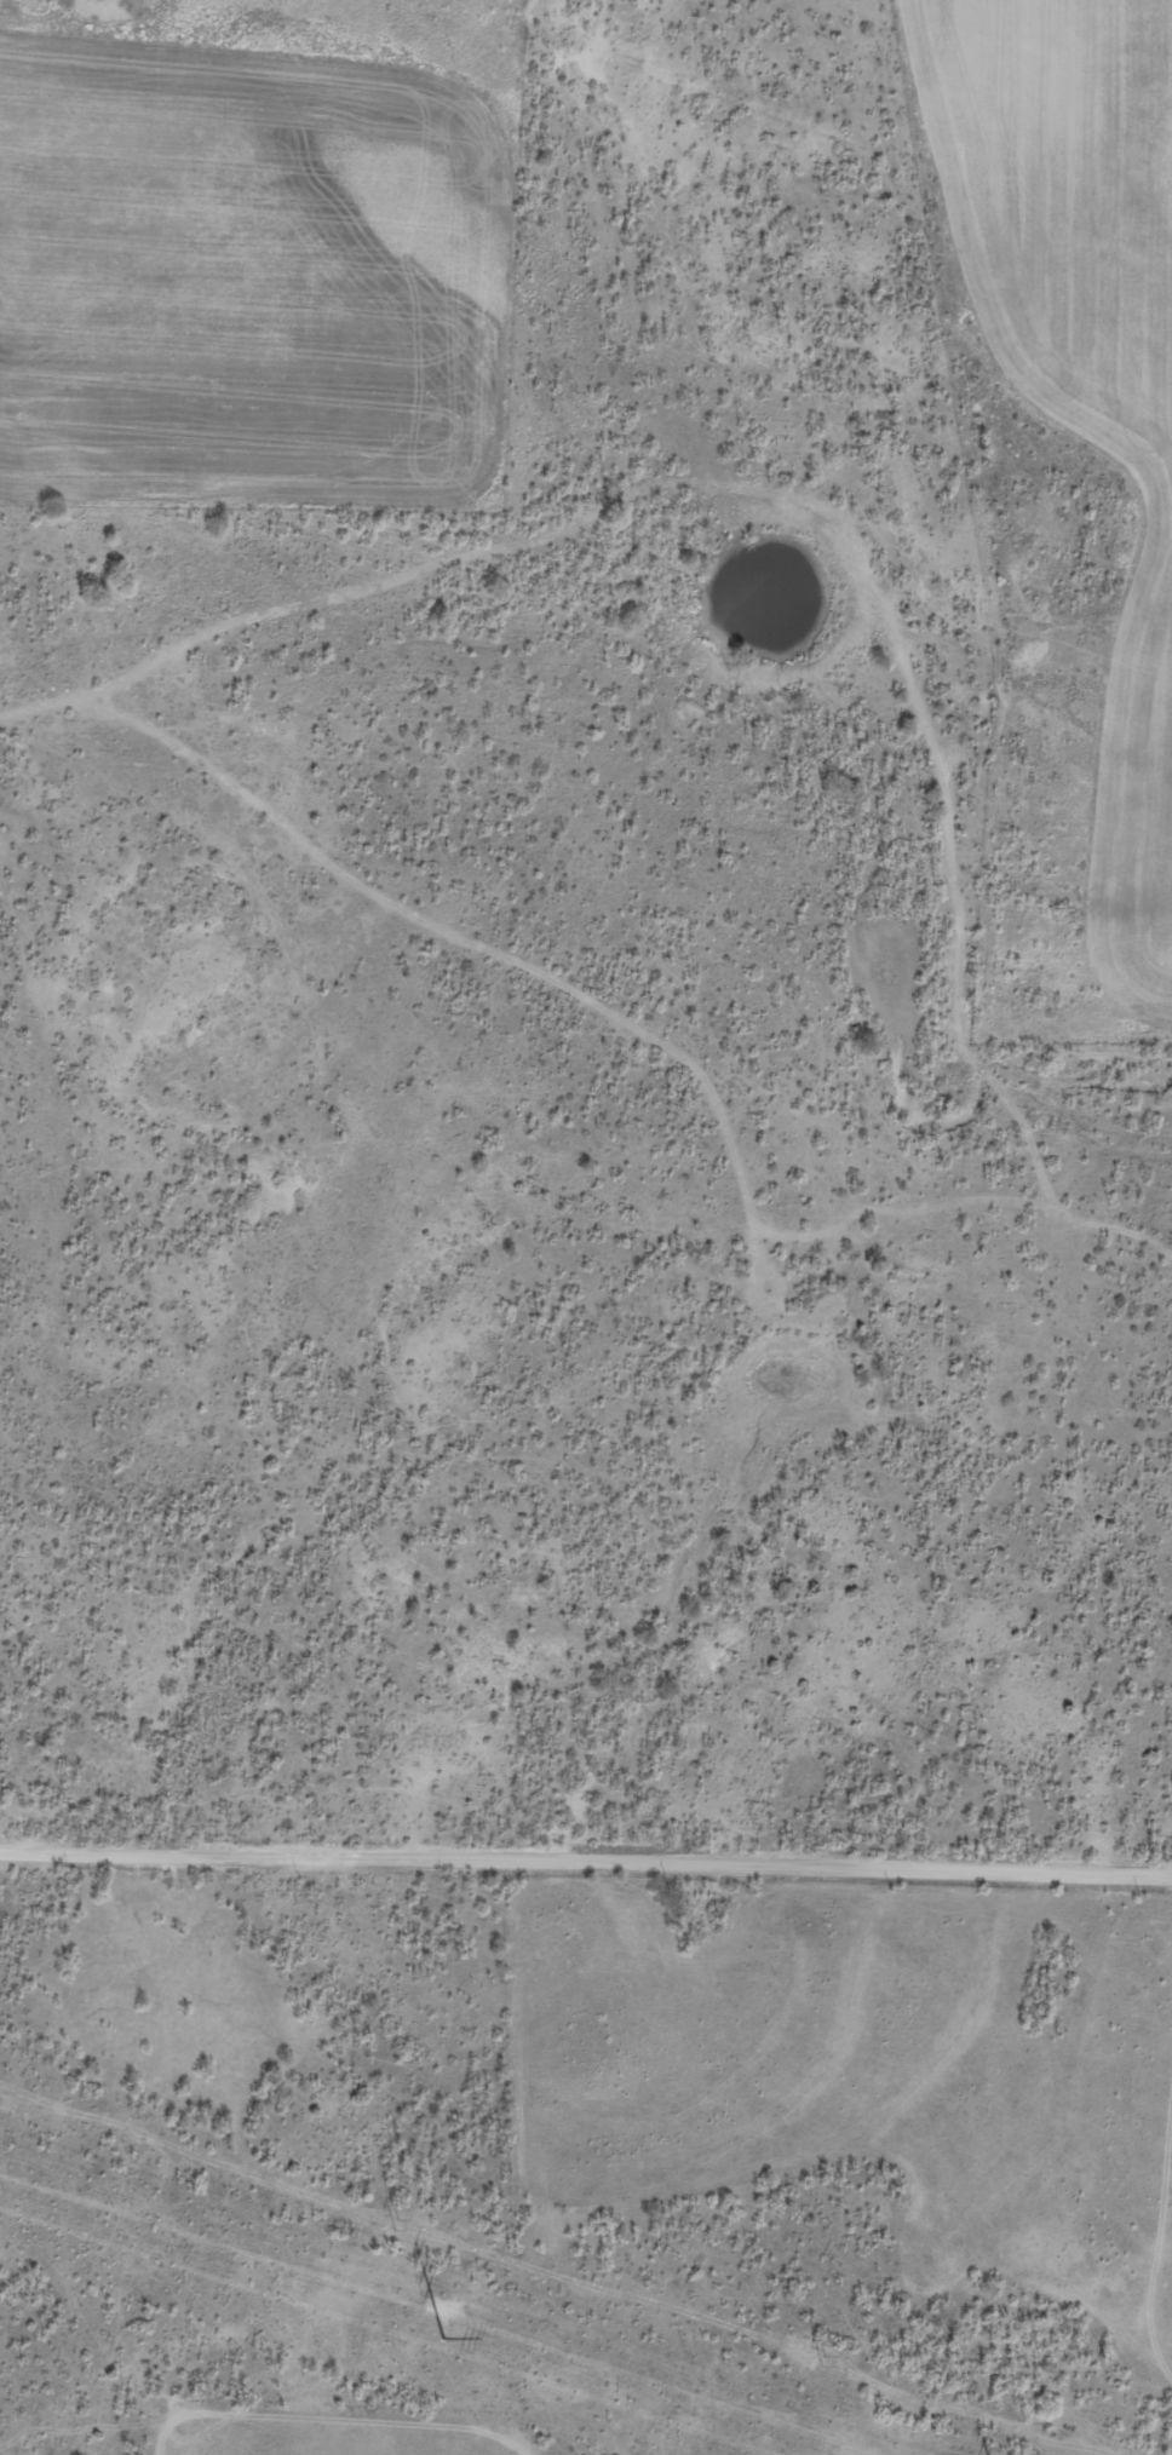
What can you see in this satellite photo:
road: (586, 1857)
power tower: (396, 2224)
power tower: (443, 2336)
power tower: (825, 2362)

